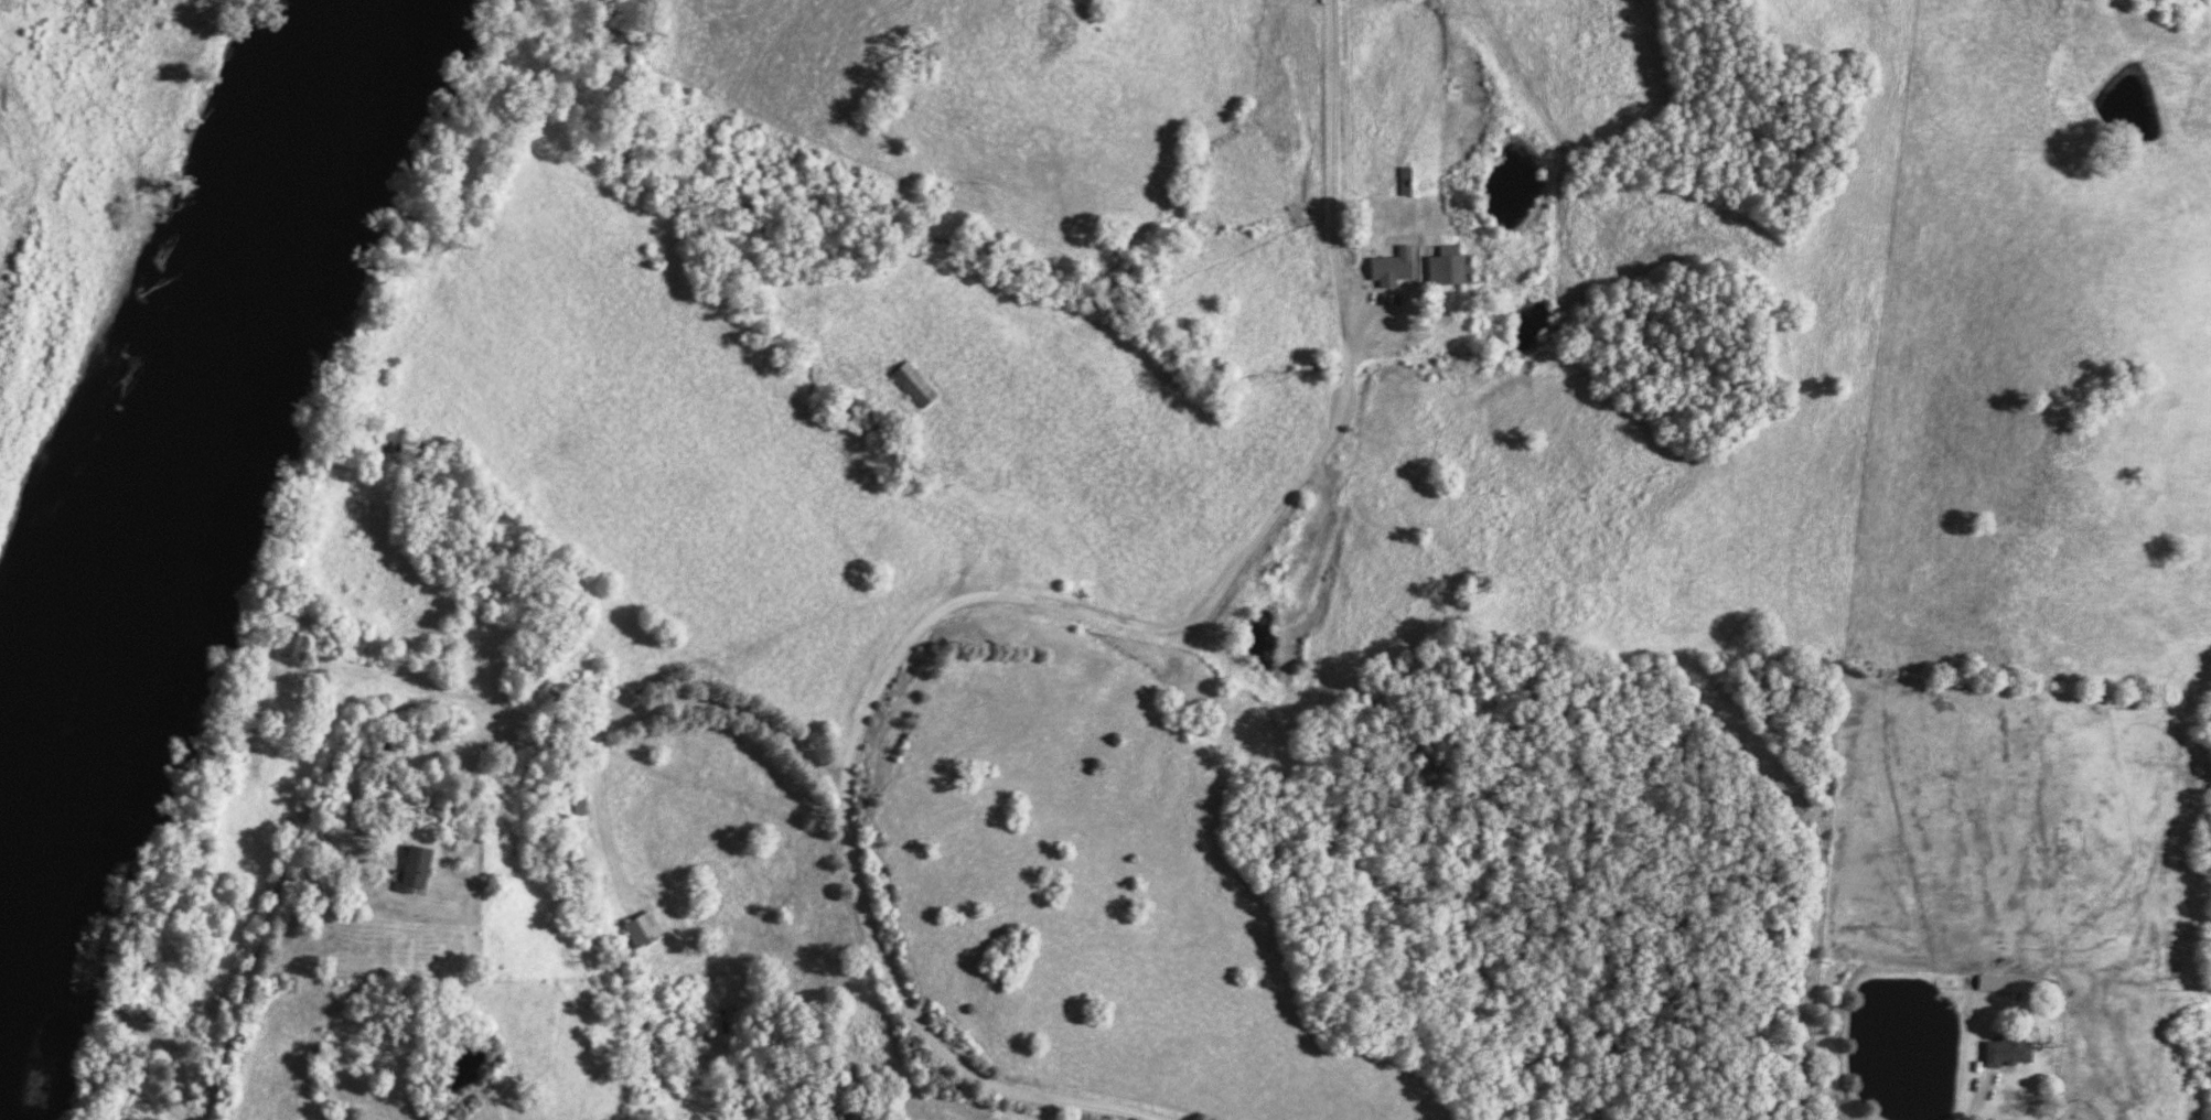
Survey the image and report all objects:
road: (96, 19)
building: (1394, 268)
building: (1449, 268)
road: (1419, 338)
road: (1313, 449)
river: (202, 534)
road: (1327, 545)
road: (945, 606)
road: (646, 710)
road: (605, 819)
road: (476, 860)
building: (420, 866)
building: (643, 931)
building: (2016, 984)
building: (2011, 1053)
road: (1983, 1098)

